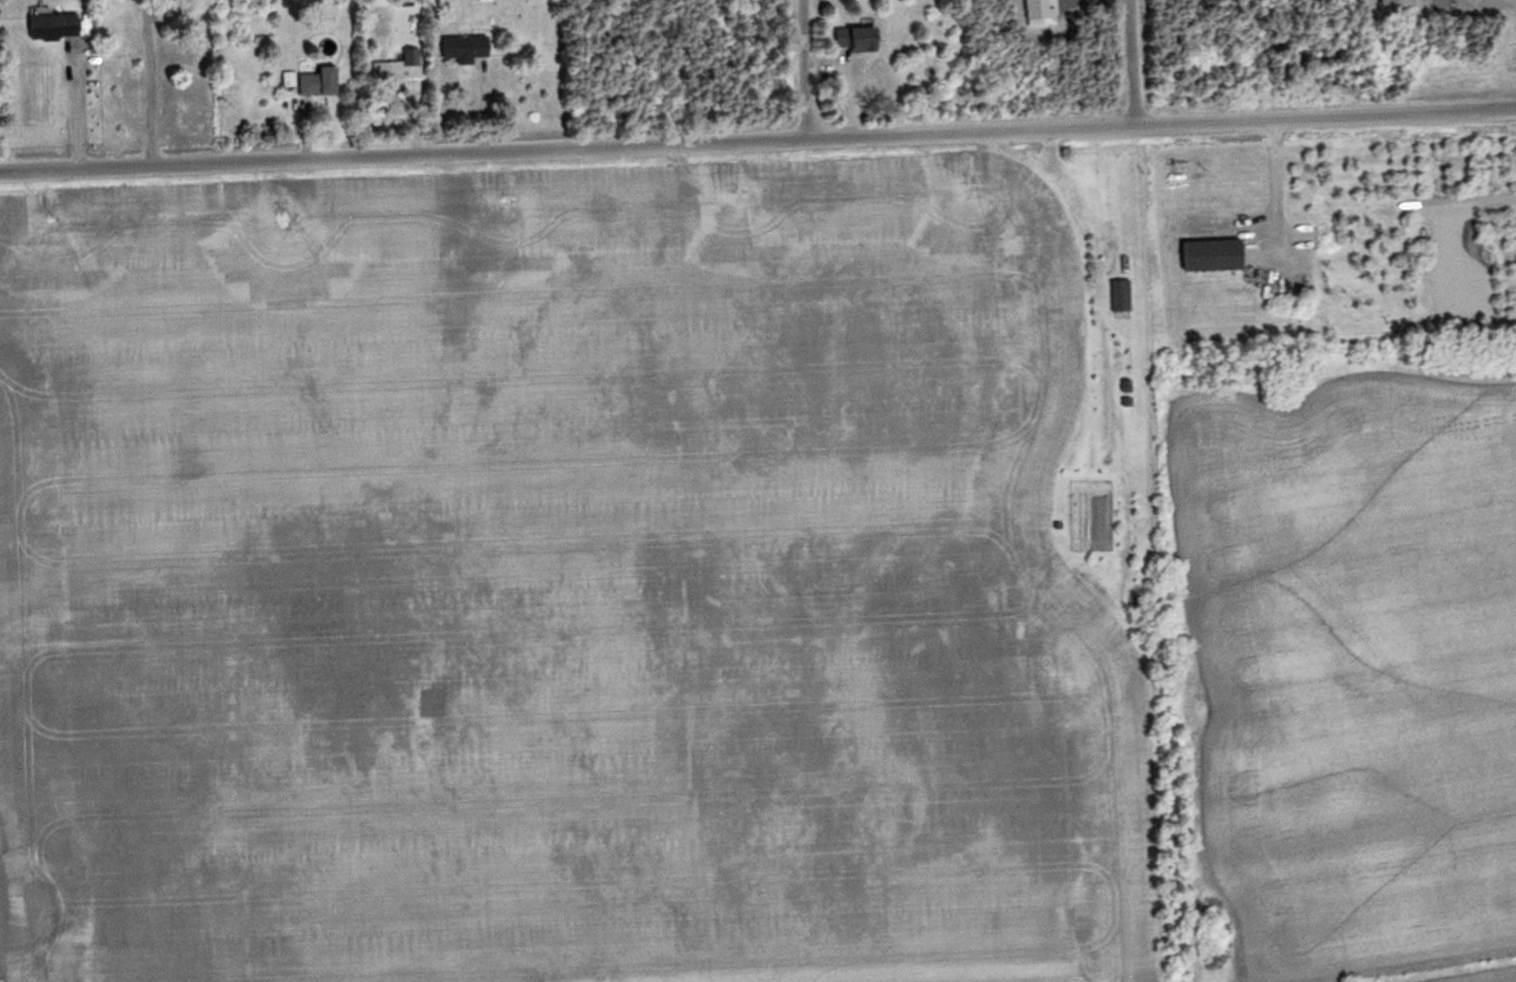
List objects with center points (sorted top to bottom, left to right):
building: (58, 27)
building: (864, 38)
building: (470, 46)
road: (1125, 62)
building: (403, 67)
road: (798, 68)
building: (324, 82)
road: (76, 105)
road: (758, 139)
building: (1218, 256)
building: (1124, 296)

